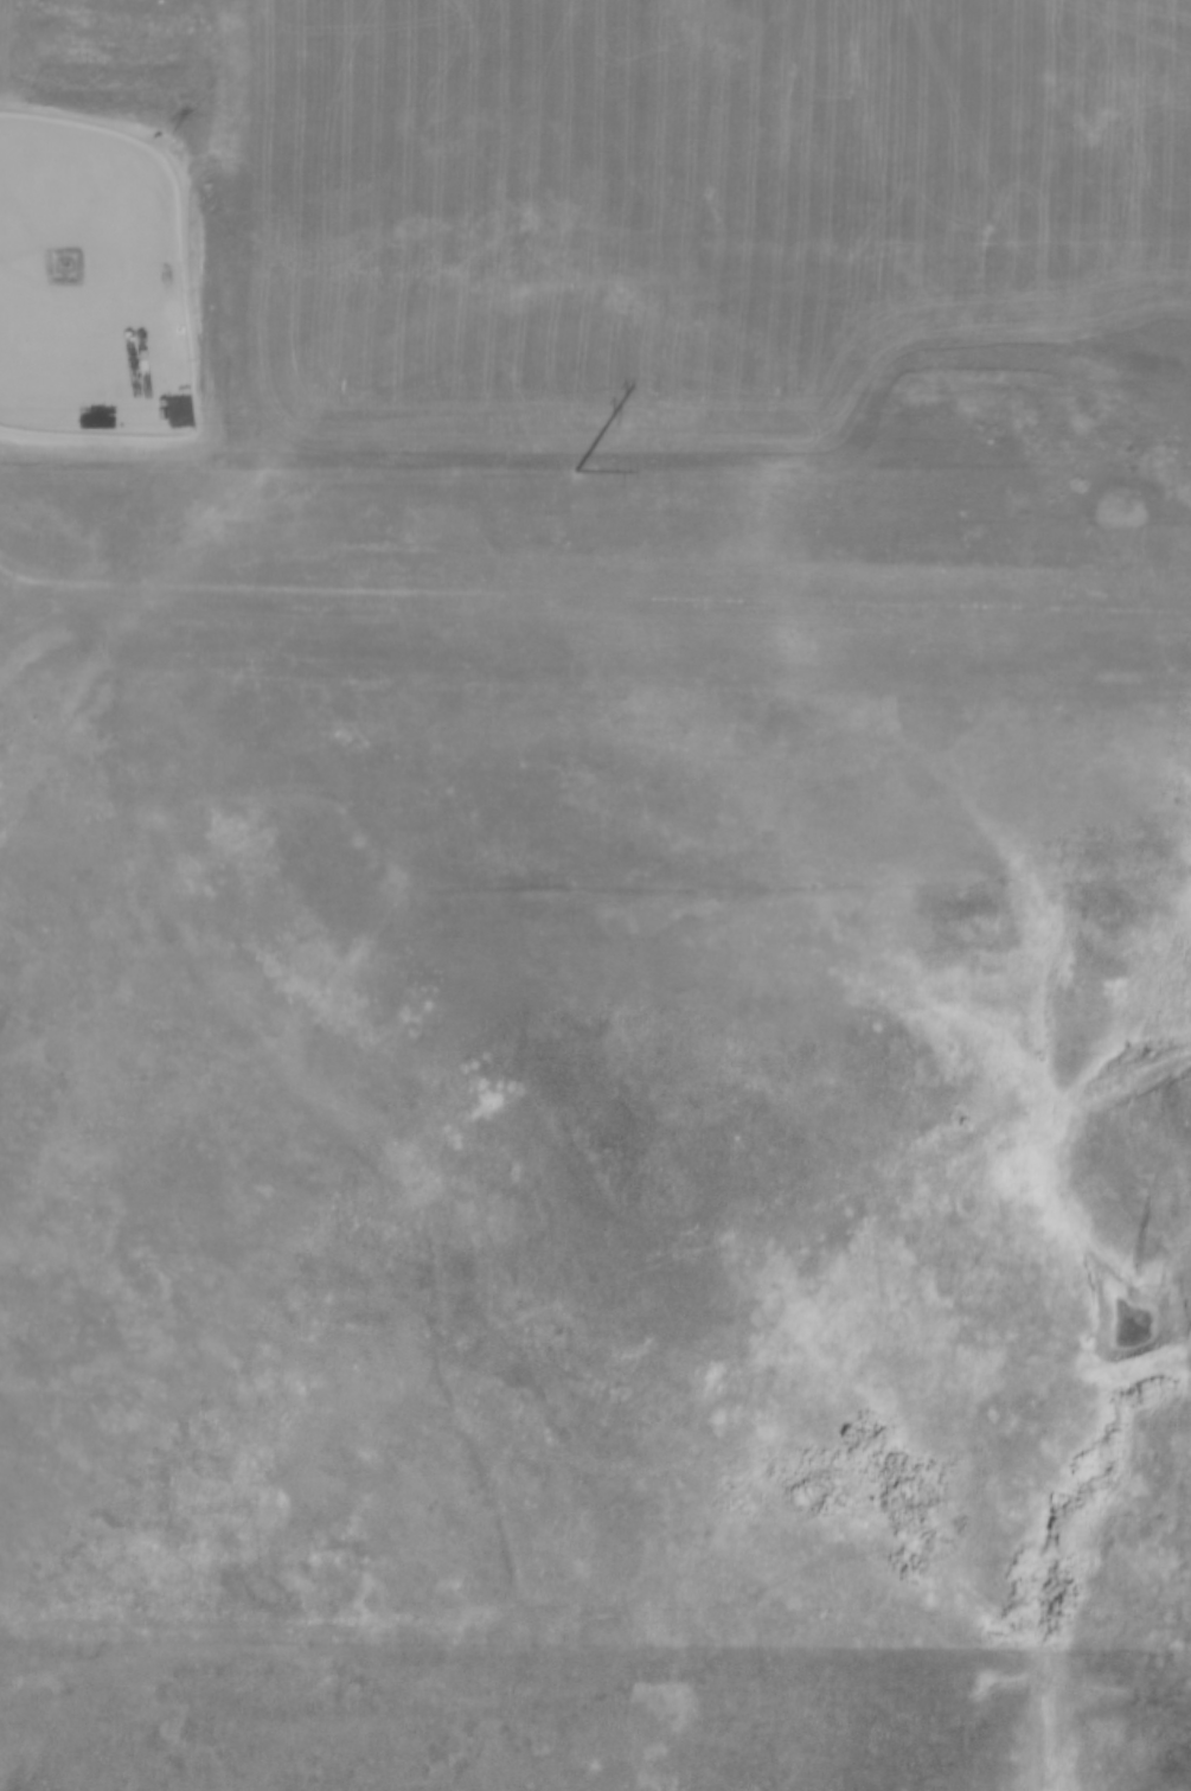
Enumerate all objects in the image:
power tower: (574, 475)

